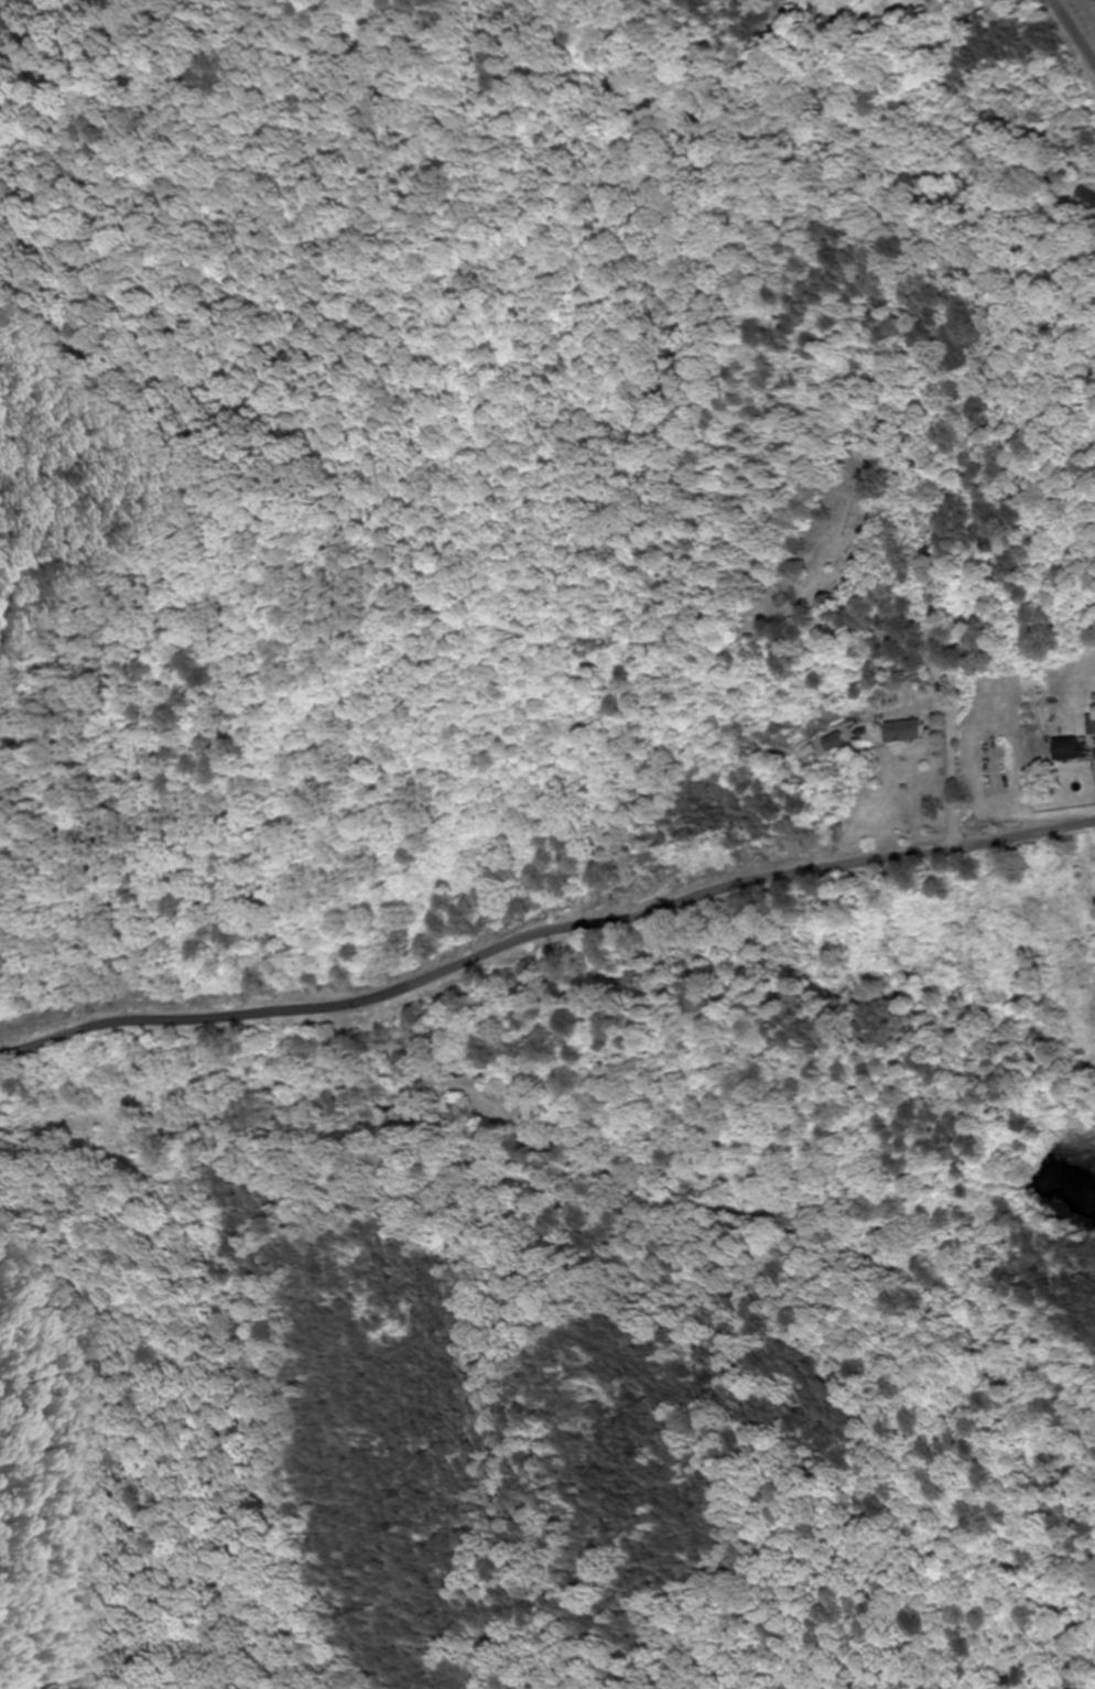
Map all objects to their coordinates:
road: (1073, 31)
building: (1092, 725)
building: (911, 732)
building: (1072, 749)
road: (543, 930)

